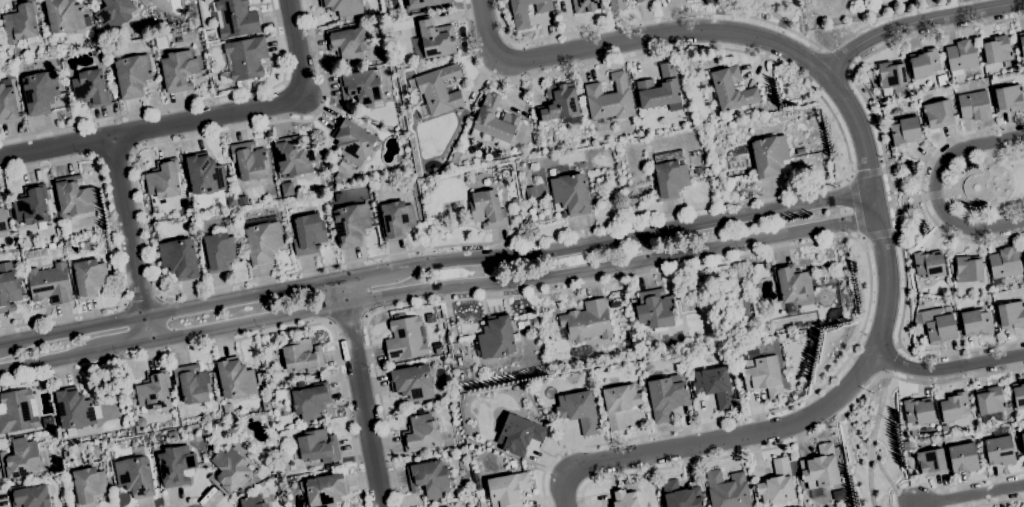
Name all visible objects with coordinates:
building: (97, 0)
building: (639, 1)
building: (423, 3)
building: (616, 5)
building: (343, 6)
building: (585, 6)
road: (722, 6)
building: (526, 11)
building: (114, 12)
road: (774, 12)
building: (64, 17)
building: (237, 18)
road: (650, 18)
building: (171, 20)
building: (21, 21)
road: (919, 22)
road: (702, 31)
building: (101, 32)
building: (142, 33)
building: (432, 38)
building: (161, 43)
building: (346, 43)
building: (1021, 43)
road: (299, 48)
building: (996, 49)
building: (961, 56)
building: (246, 57)
road: (839, 61)
building: (924, 63)
building: (178, 70)
building: (976, 72)
building: (10, 74)
building: (890, 74)
building: (133, 75)
building: (361, 87)
building: (91, 88)
building: (659, 89)
building: (731, 89)
building: (436, 90)
building: (40, 92)
building: (114, 95)
building: (1009, 98)
building: (609, 99)
road: (182, 104)
building: (560, 104)
building: (7, 105)
building: (974, 105)
building: (897, 111)
building: (937, 113)
building: (463, 115)
building: (374, 119)
building: (493, 121)
road: (154, 129)
building: (904, 131)
building: (645, 132)
building: (534, 137)
building: (353, 141)
building: (294, 156)
building: (769, 156)
building: (481, 158)
building: (249, 160)
road: (1005, 160)
road: (986, 170)
road: (867, 171)
building: (204, 174)
building: (670, 174)
road: (888, 178)
building: (339, 179)
building: (165, 181)
building: (269, 181)
park: (985, 184)
road: (990, 184)
road: (902, 187)
road: (921, 187)
building: (287, 189)
building: (539, 190)
road: (936, 190)
building: (530, 192)
road: (951, 192)
building: (331, 193)
building: (570, 193)
building: (614, 194)
road: (931, 195)
building: (74, 196)
building: (242, 200)
road: (992, 200)
building: (231, 202)
building: (515, 202)
road: (1010, 202)
road: (874, 204)
building: (31, 205)
road: (857, 205)
building: (487, 209)
building: (243, 216)
road: (906, 219)
building: (396, 220)
building: (2, 221)
building: (350, 224)
building: (290, 232)
building: (308, 234)
road: (880, 235)
road: (538, 237)
road: (129, 238)
building: (263, 239)
road: (632, 239)
building: (7, 241)
road: (113, 244)
building: (51, 246)
building: (87, 247)
building: (221, 248)
building: (1023, 249)
road: (765, 251)
building: (36, 254)
building: (1020, 254)
building: (179, 258)
building: (928, 264)
building: (1004, 264)
building: (967, 269)
building: (109, 273)
road: (366, 277)
building: (89, 278)
road: (512, 278)
building: (792, 282)
building: (49, 284)
building: (8, 289)
road: (141, 298)
building: (923, 304)
building: (615, 305)
building: (655, 309)
road: (170, 314)
building: (1011, 314)
road: (347, 321)
building: (590, 321)
building: (976, 322)
building: (522, 324)
building: (940, 328)
building: (723, 333)
road: (255, 335)
building: (496, 337)
building: (405, 338)
building: (916, 338)
building: (647, 339)
road: (126, 342)
building: (437, 351)
building: (752, 353)
building: (302, 356)
road: (52, 357)
road: (891, 358)
building: (648, 367)
road: (949, 368)
building: (763, 376)
building: (235, 379)
building: (412, 382)
building: (192, 383)
building: (714, 386)
building: (153, 390)
road: (362, 394)
building: (1018, 395)
building: (132, 396)
building: (666, 396)
building: (307, 399)
building: (619, 404)
building: (990, 404)
building: (266, 406)
building: (72, 407)
building: (954, 407)
building: (111, 409)
building: (227, 410)
building: (16, 411)
building: (578, 411)
building: (918, 412)
building: (140, 422)
building: (600, 422)
building: (232, 428)
road: (783, 428)
building: (944, 428)
building: (420, 433)
building: (518, 434)
building: (171, 435)
road: (804, 437)
building: (938, 438)
road: (873, 439)
building: (1022, 439)
building: (925, 440)
building: (449, 443)
building: (906, 445)
building: (212, 447)
building: (317, 447)
building: (999, 450)
building: (963, 457)
building: (21, 459)
building: (930, 462)
building: (512, 463)
road: (876, 463)
building: (175, 465)
building: (820, 468)
building: (229, 470)
building: (461, 472)
building: (135, 474)
building: (431, 477)
road: (966, 482)
building: (778, 483)
building: (88, 486)
building: (507, 489)
building: (727, 489)
building: (241, 490)
building: (324, 490)
building: (817, 493)
building: (680, 495)
building: (702, 495)
building: (838, 495)
road: (970, 495)
building: (30, 496)
road: (191, 498)
building: (624, 499)
building: (252, 502)
road: (999, 502)
building: (446, 506)
road: (916, 506)
road: (918, 506)

